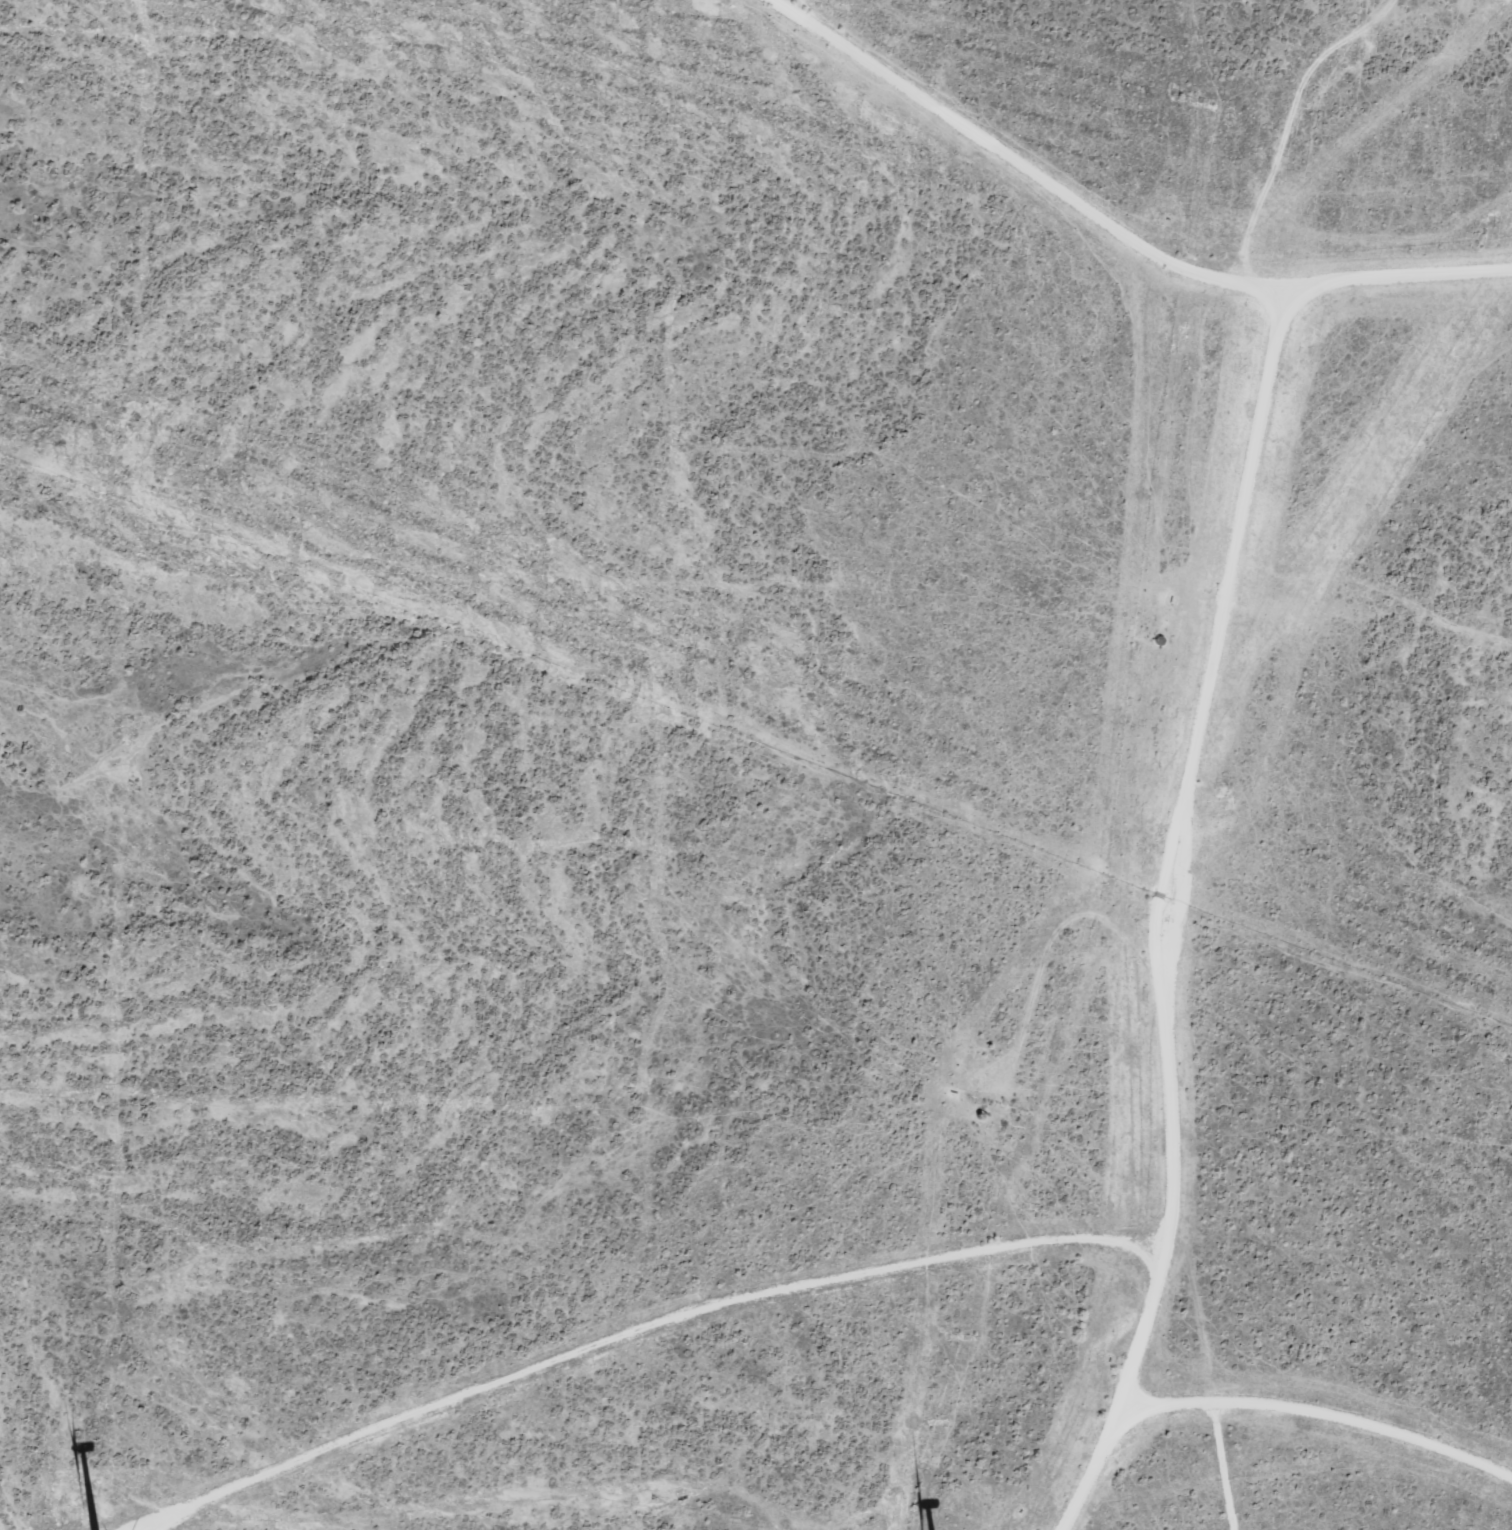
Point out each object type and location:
road: (1165, 740)

